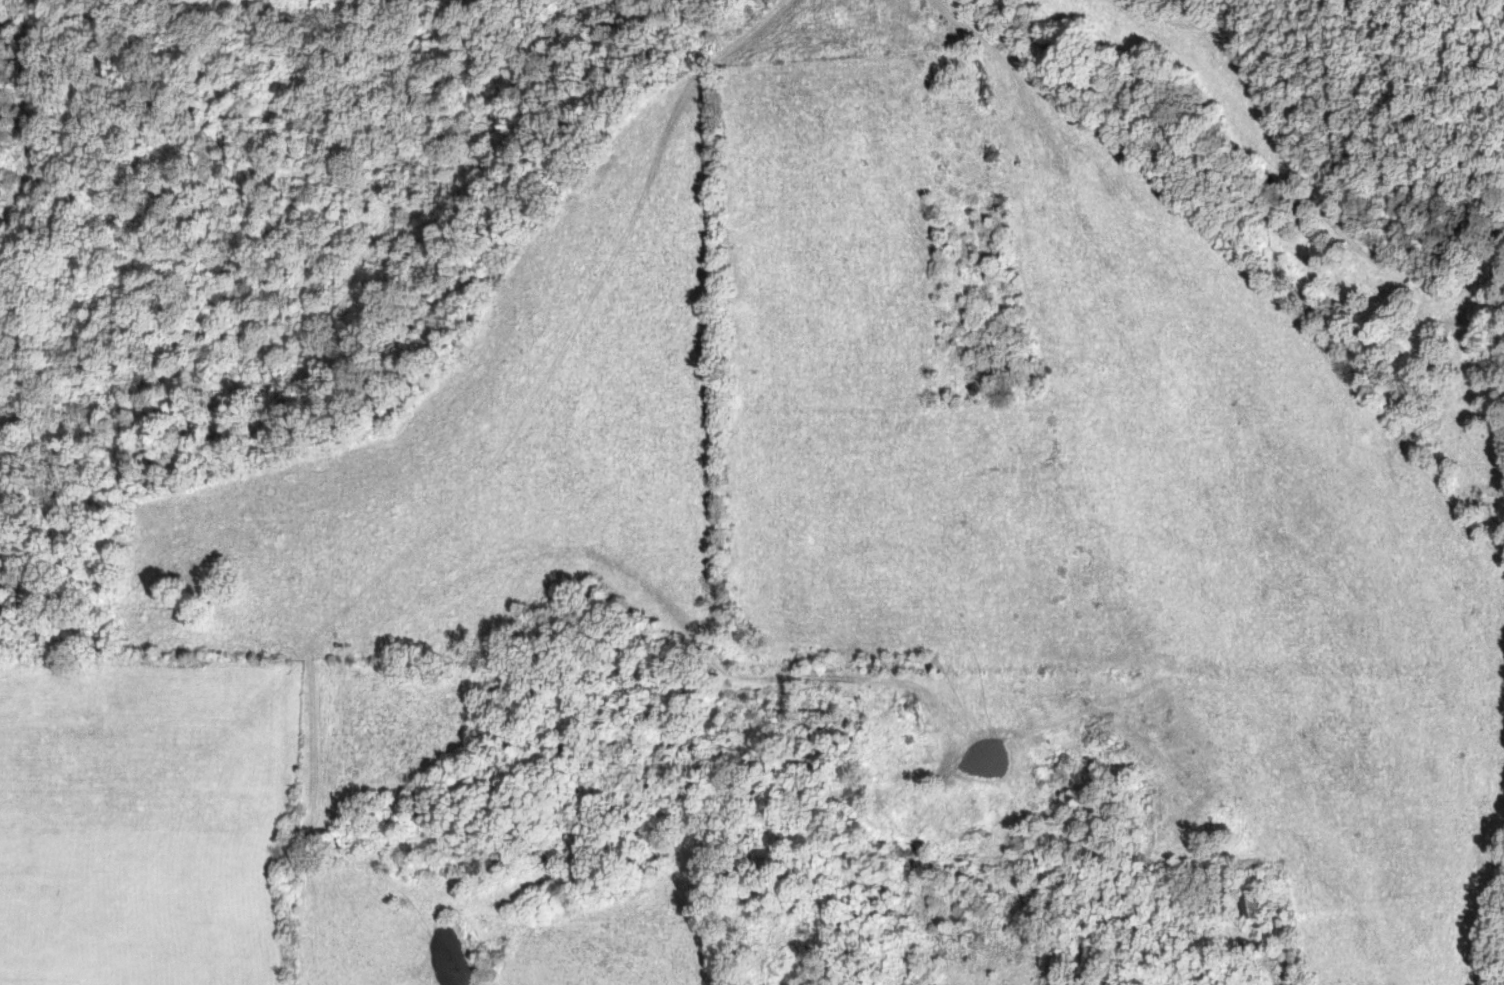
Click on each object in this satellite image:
building: (1251, 906)

